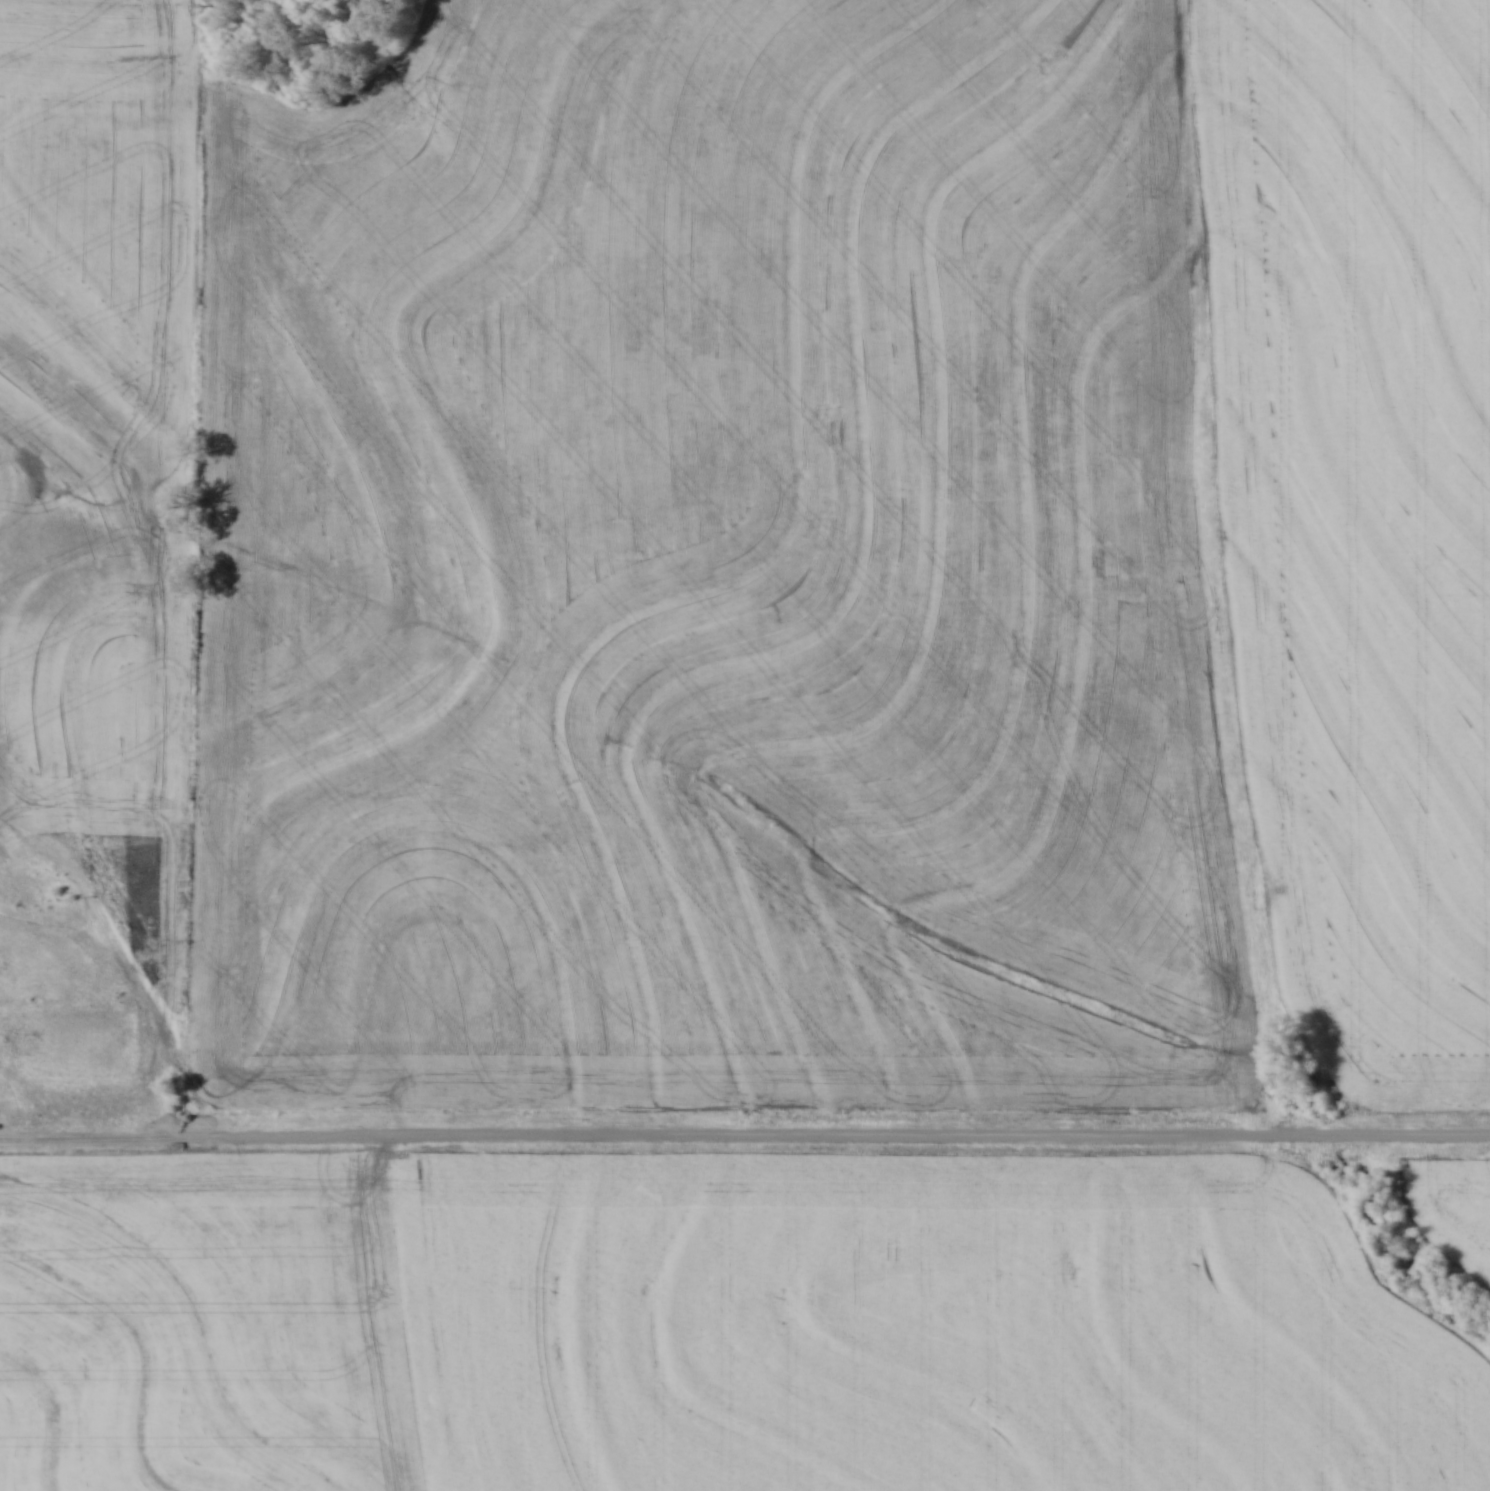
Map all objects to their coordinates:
road: (745, 1140)

